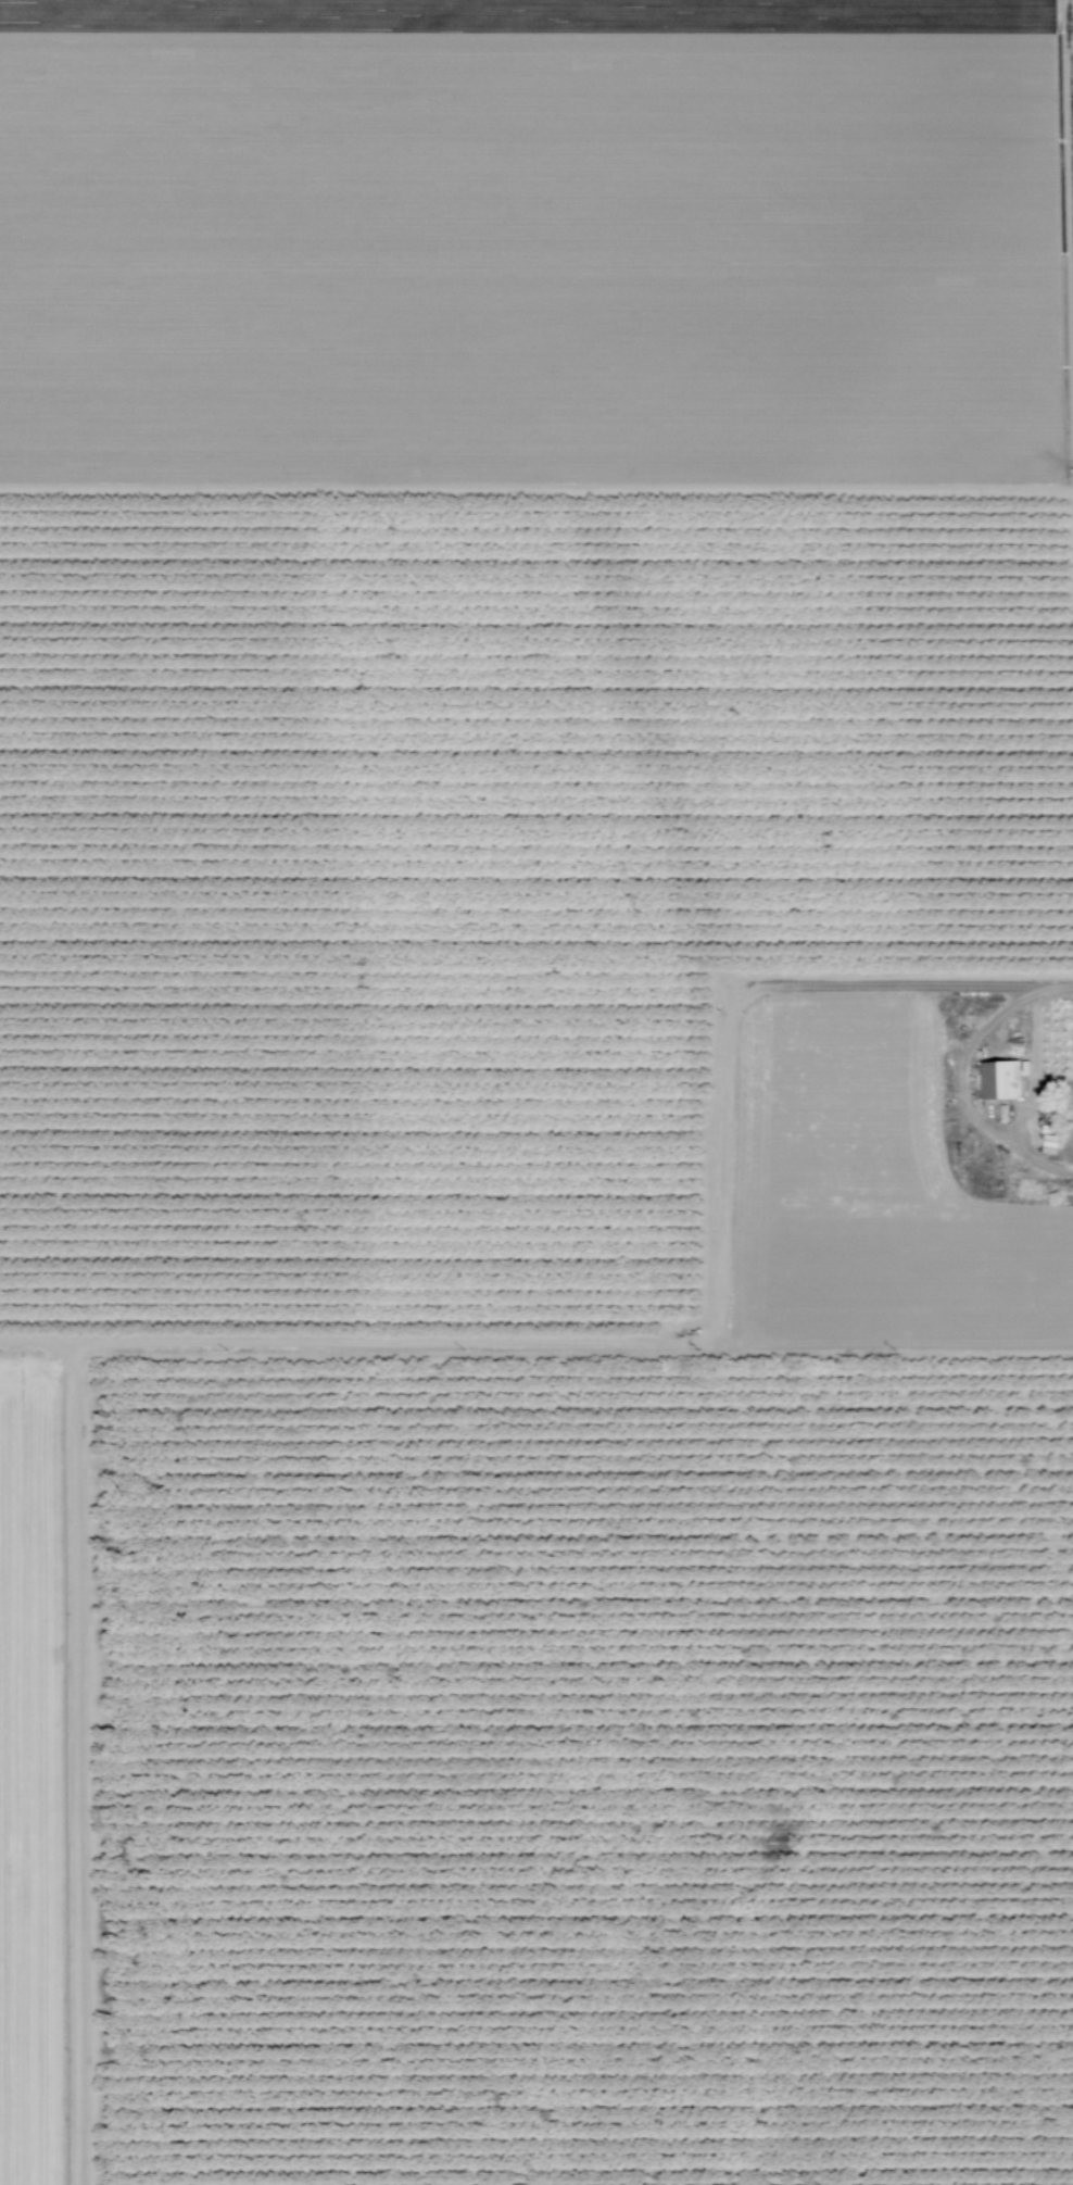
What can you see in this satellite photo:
road: (959, 1078)
building: (1000, 1081)

